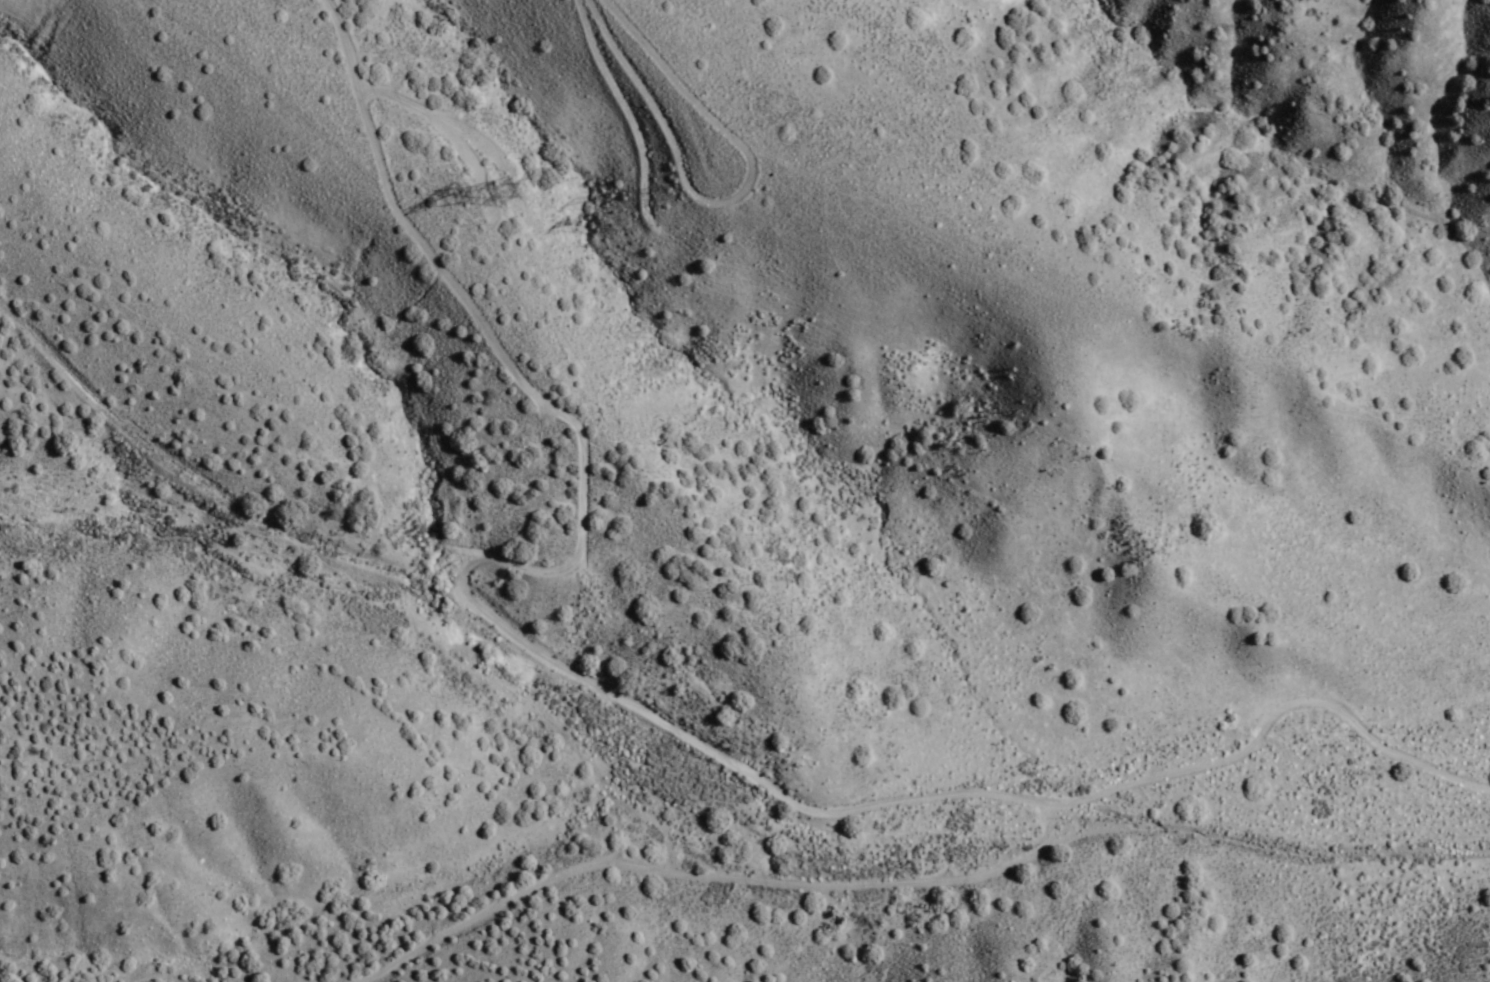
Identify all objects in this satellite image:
power tower: (509, 197)
power tower: (669, 198)
power tower: (617, 224)
road: (469, 557)
road: (905, 872)

